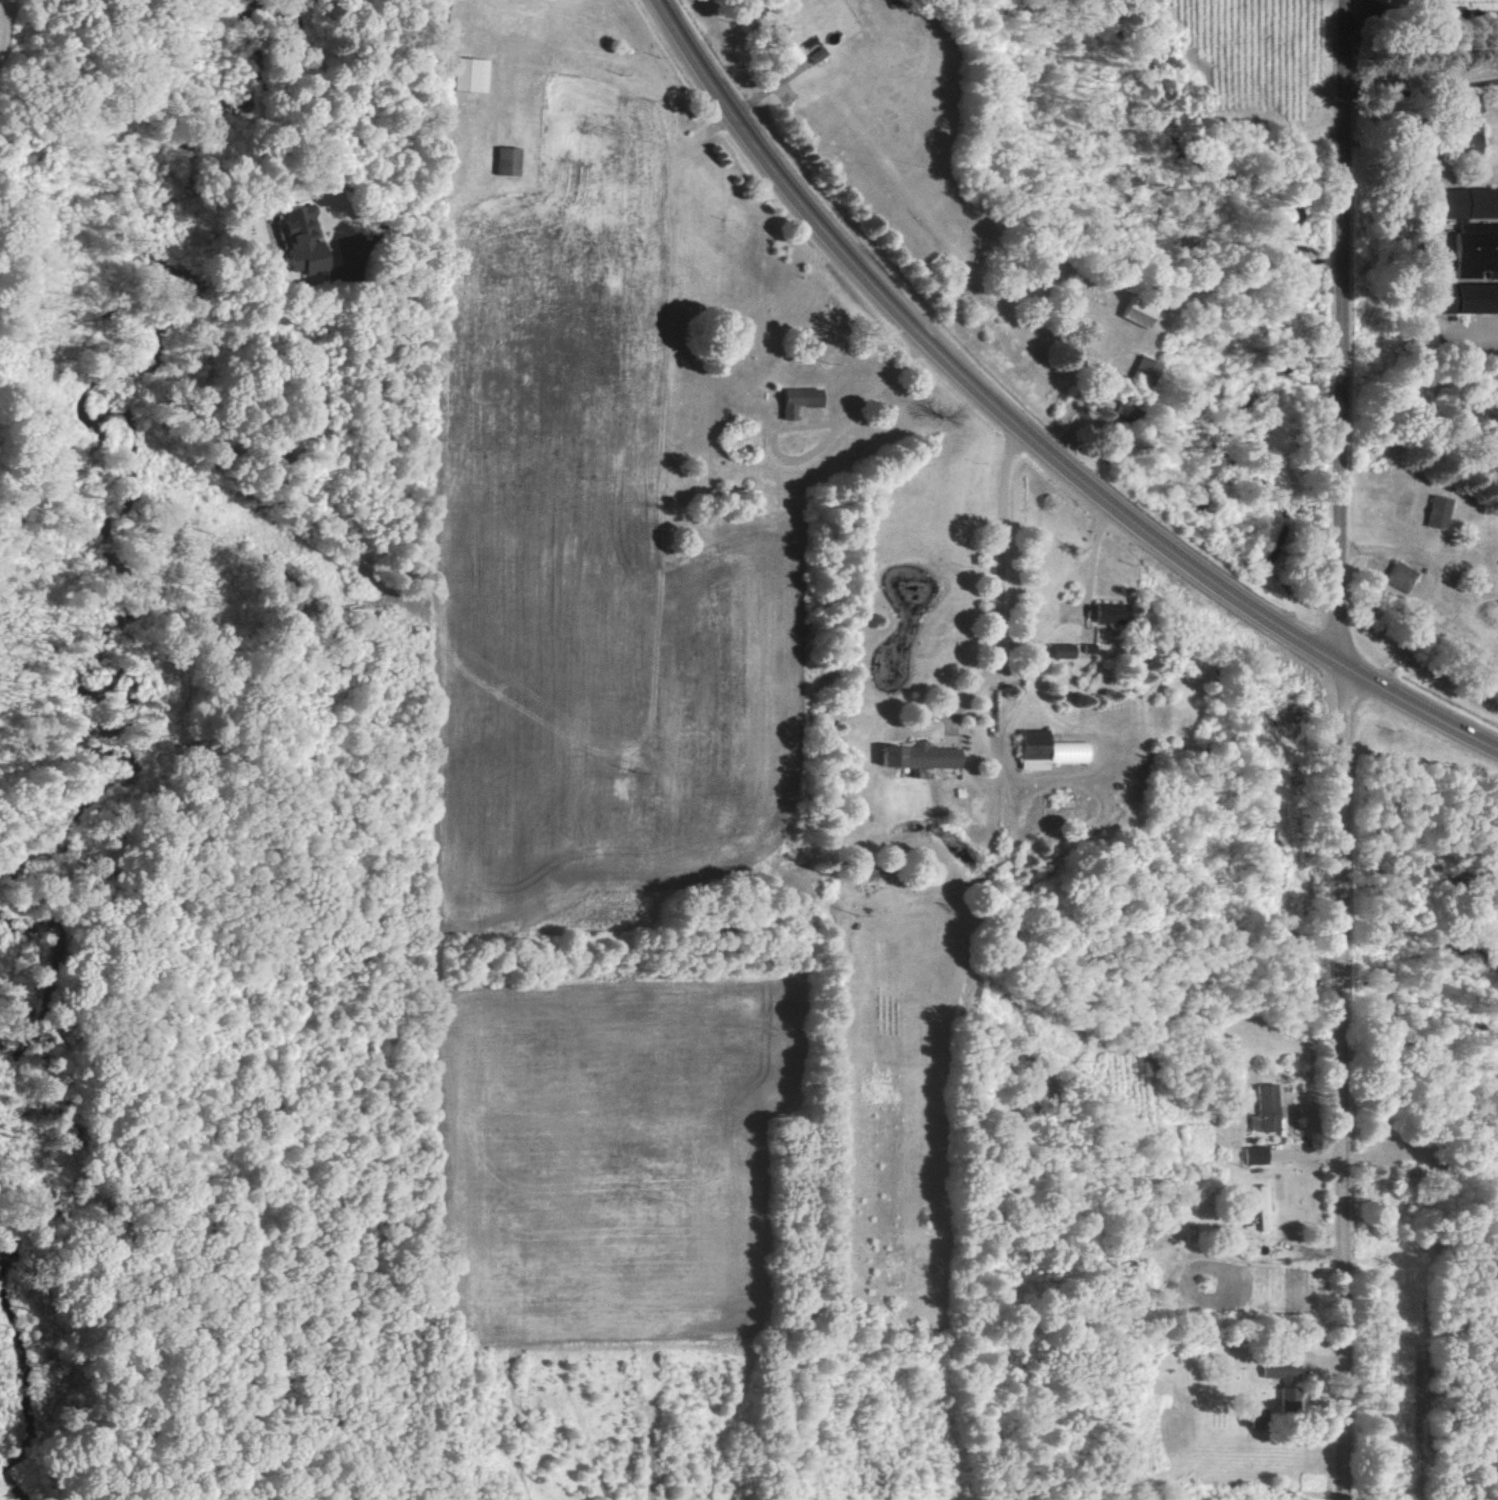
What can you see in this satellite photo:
road: (1418, 11)
building: (789, 44)
building: (818, 53)
building: (472, 74)
road: (1419, 88)
building: (1463, 122)
road: (438, 132)
building: (511, 160)
building: (1468, 228)
building: (309, 242)
building: (1463, 297)
building: (1133, 313)
building: (1139, 371)
building: (794, 400)
building: (1109, 407)
road: (822, 424)
road: (1026, 430)
building: (1433, 512)
road: (1084, 551)
building: (1399, 576)
road: (1439, 579)
road: (995, 590)
building: (1101, 611)
building: (1059, 650)
building: (1044, 750)
road: (1341, 750)
building: (914, 756)
building: (1263, 1109)
building: (1252, 1155)
building: (1260, 1207)
building: (1281, 1379)

